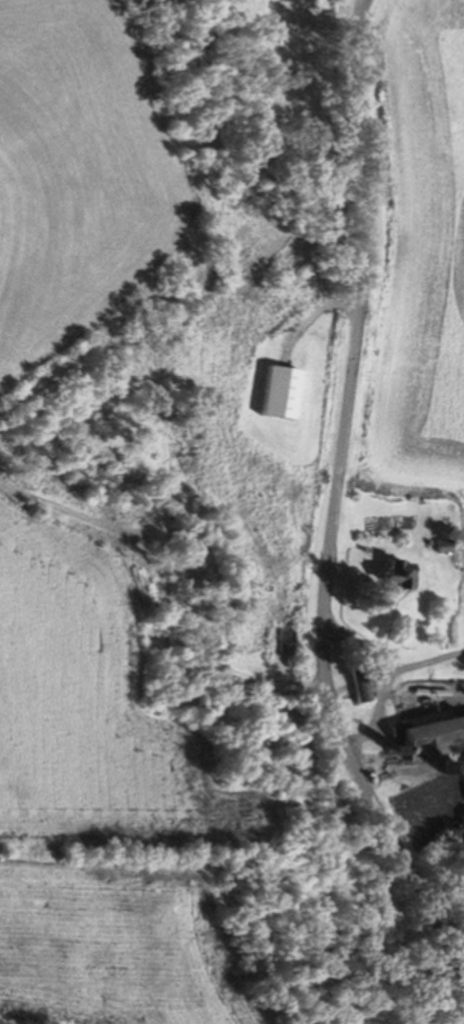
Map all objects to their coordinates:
road: (334, 504)
building: (442, 544)
building: (397, 573)
building: (358, 681)
building: (432, 690)
building: (430, 736)
building: (462, 817)

